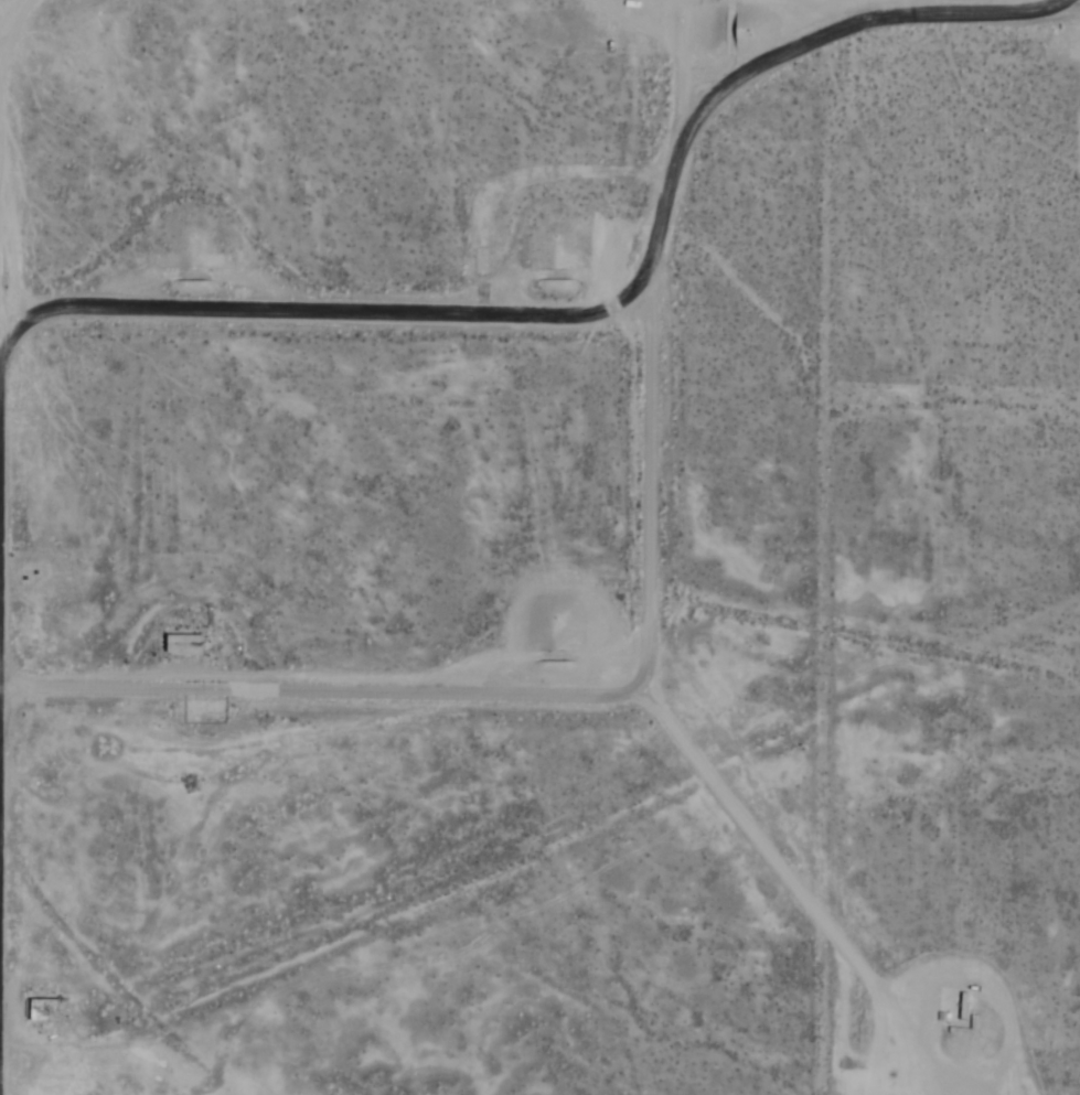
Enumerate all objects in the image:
road: (927, 15)
building: (481, 261)
road: (459, 316)
airport: (539, 547)
building: (181, 644)
road: (536, 691)
road: (792, 884)
building: (41, 1009)

